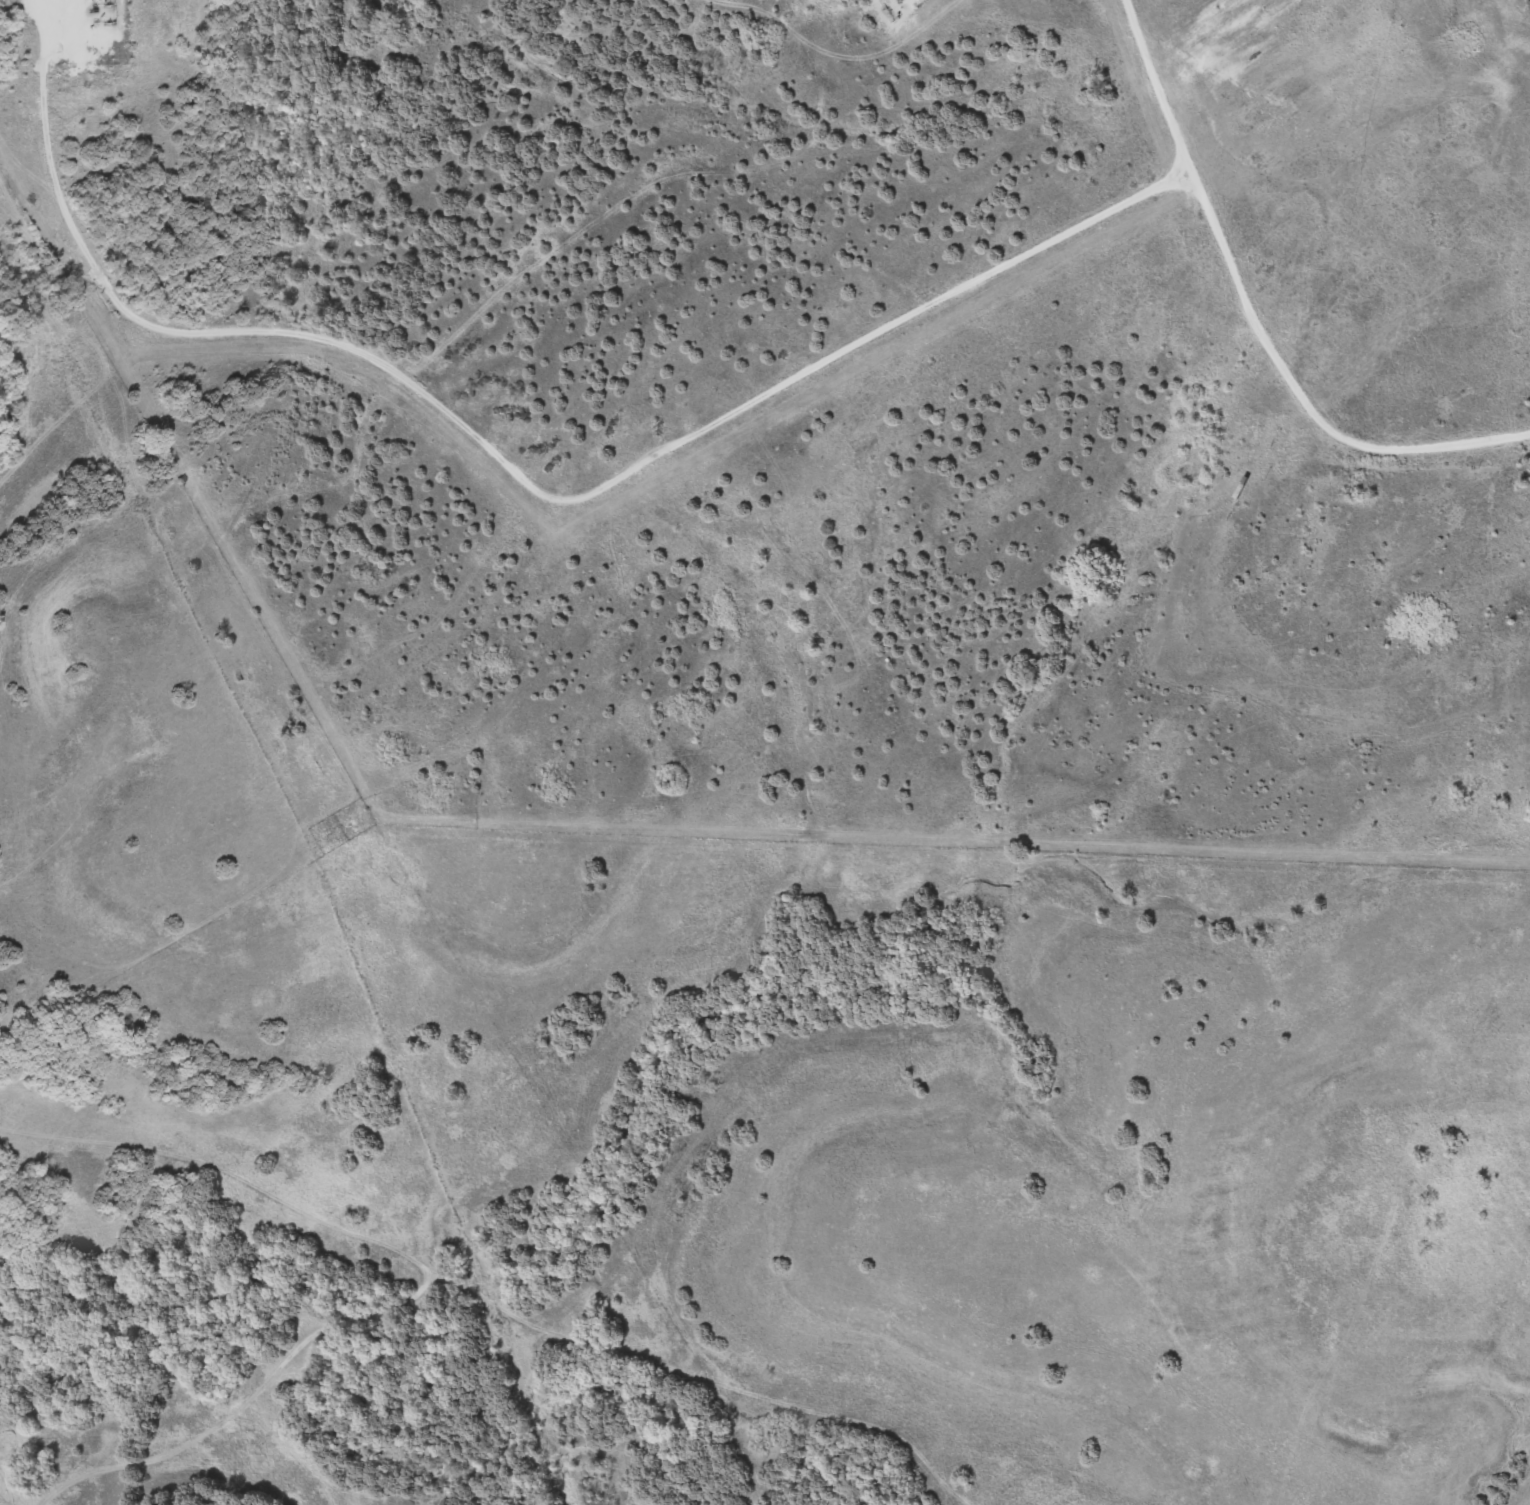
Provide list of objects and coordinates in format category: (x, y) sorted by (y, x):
road: (1214, 227)
road: (1392, 446)
road: (532, 483)

